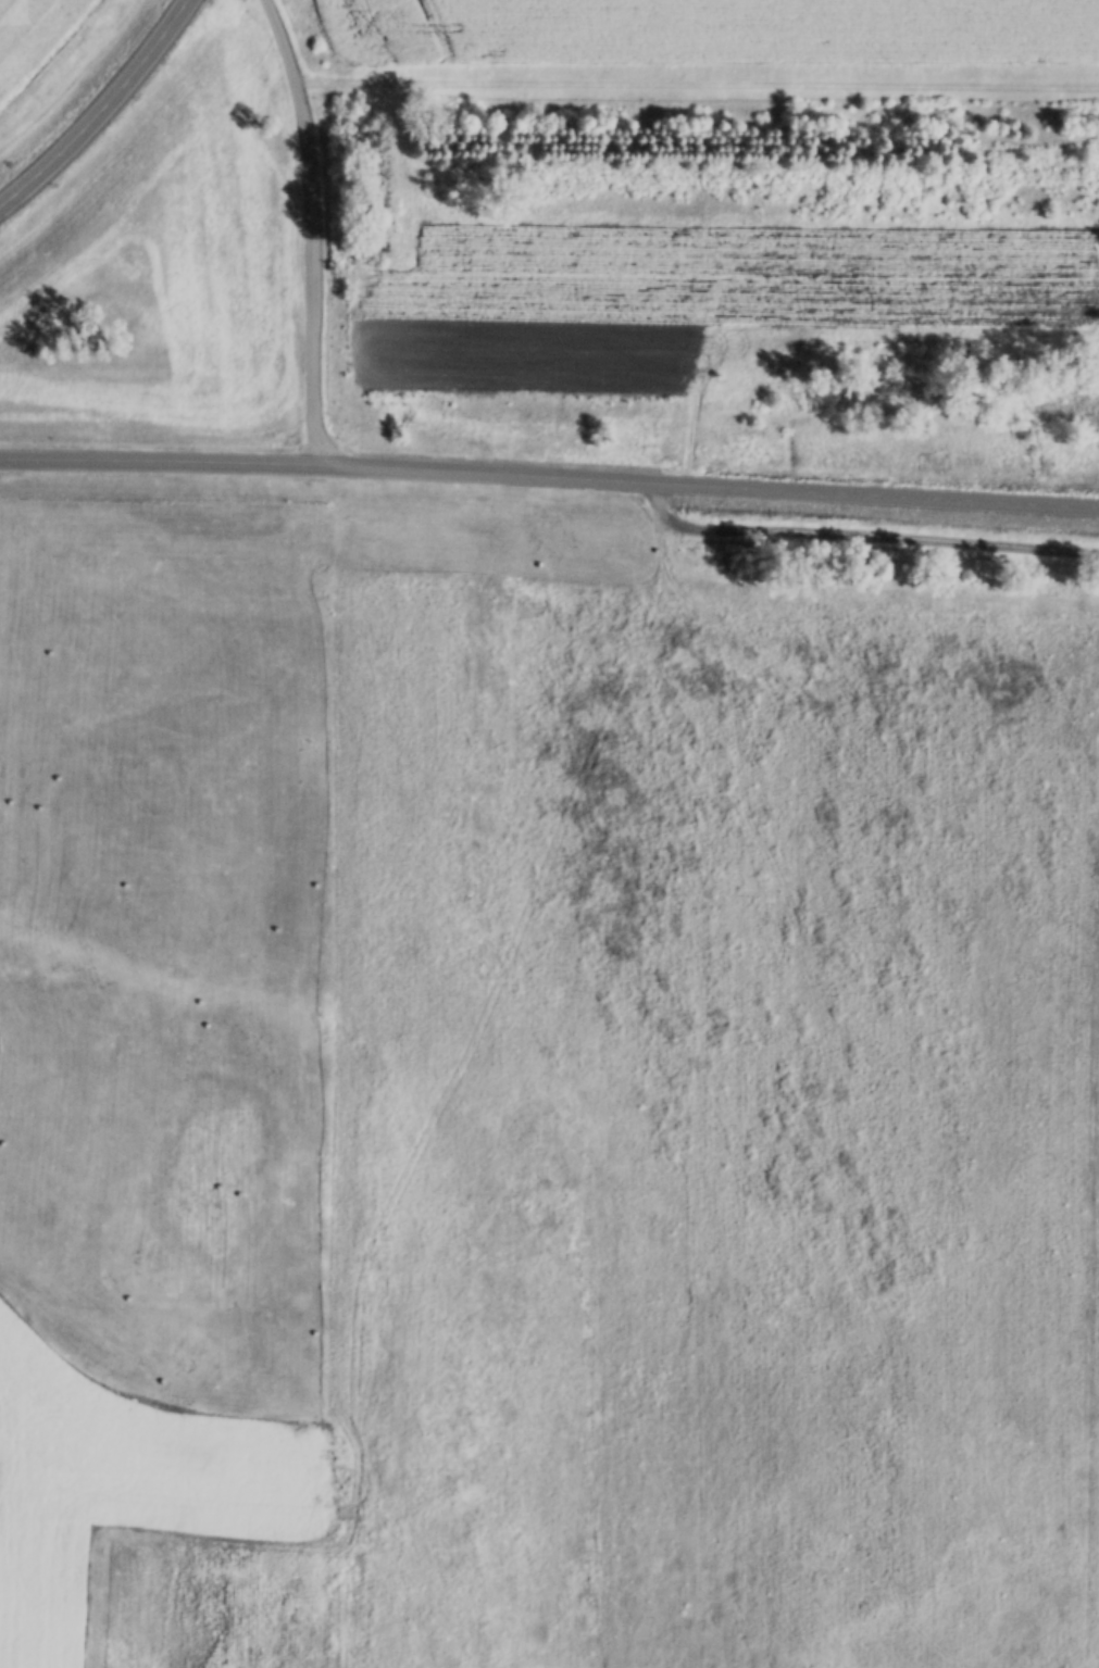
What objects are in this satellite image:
road: (110, 106)
road: (307, 230)
road: (549, 475)
crop: (50, 1509)

